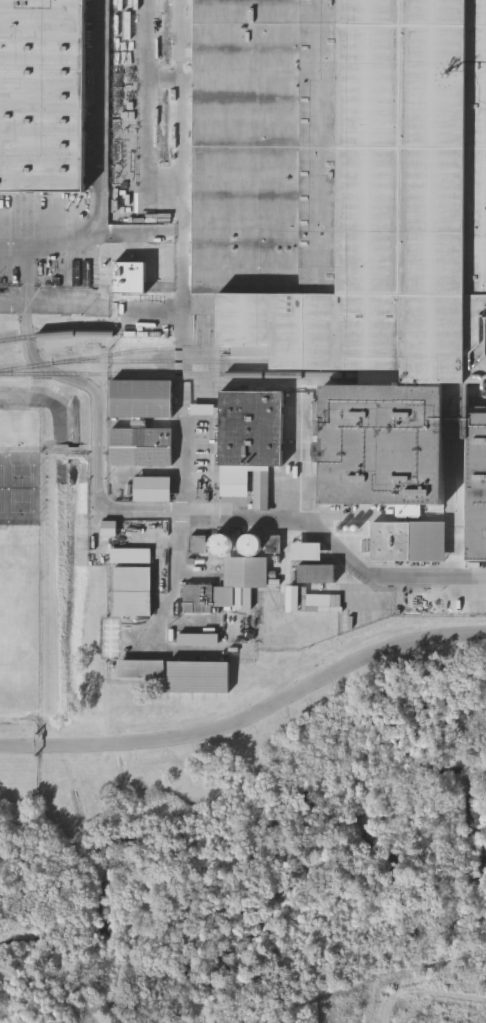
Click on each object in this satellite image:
road: (137, 58)
building: (42, 95)
road: (103, 153)
building: (353, 222)
road: (187, 248)
road: (26, 262)
building: (134, 279)
railway: (61, 334)
railway: (137, 351)
railway: (169, 360)
railway: (178, 374)
building: (141, 396)
building: (249, 427)
building: (140, 445)
park: (4, 486)
park: (23, 486)
building: (152, 486)
road: (184, 512)
building: (112, 530)
building: (408, 539)
building: (311, 553)
building: (133, 557)
building: (319, 574)
building: (136, 593)
building: (201, 599)
park: (21, 600)
building: (202, 641)
building: (145, 670)
building: (203, 678)
road: (249, 715)

